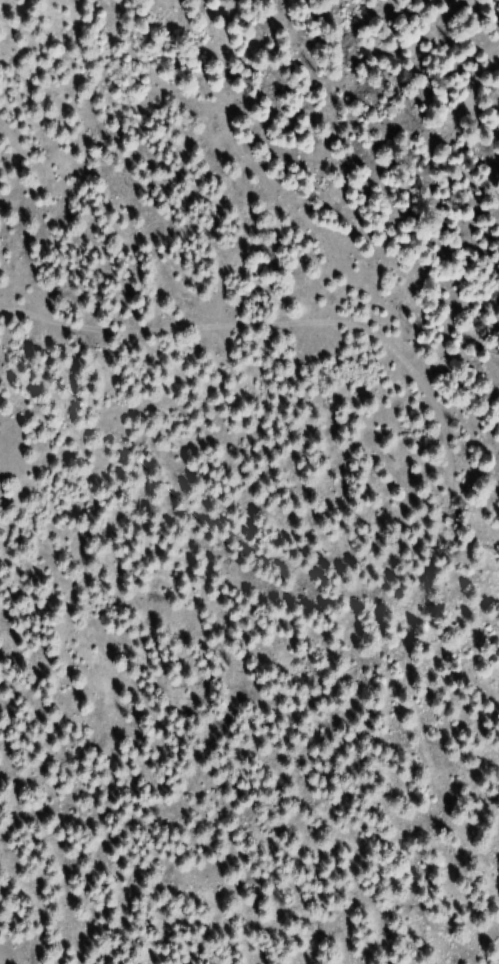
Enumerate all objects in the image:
road: (444, 426)

